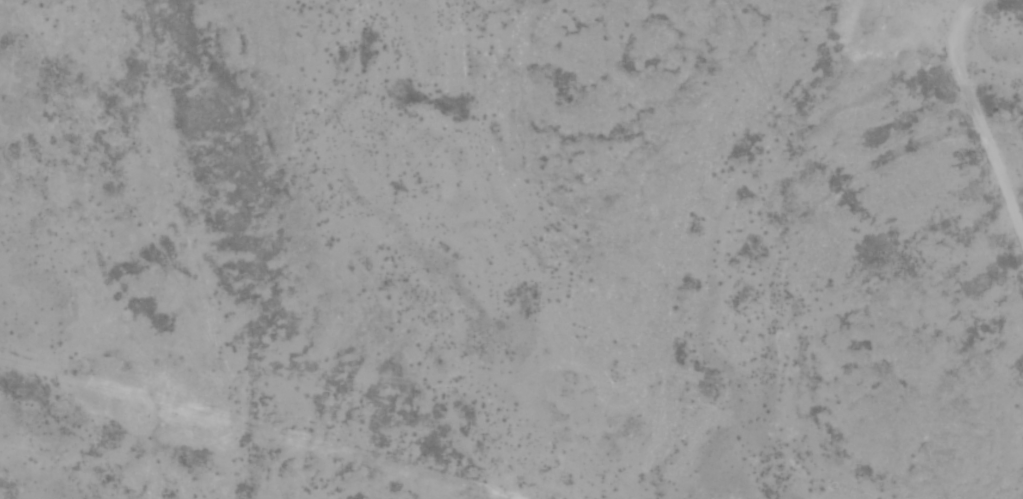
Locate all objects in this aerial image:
road: (974, 116)

